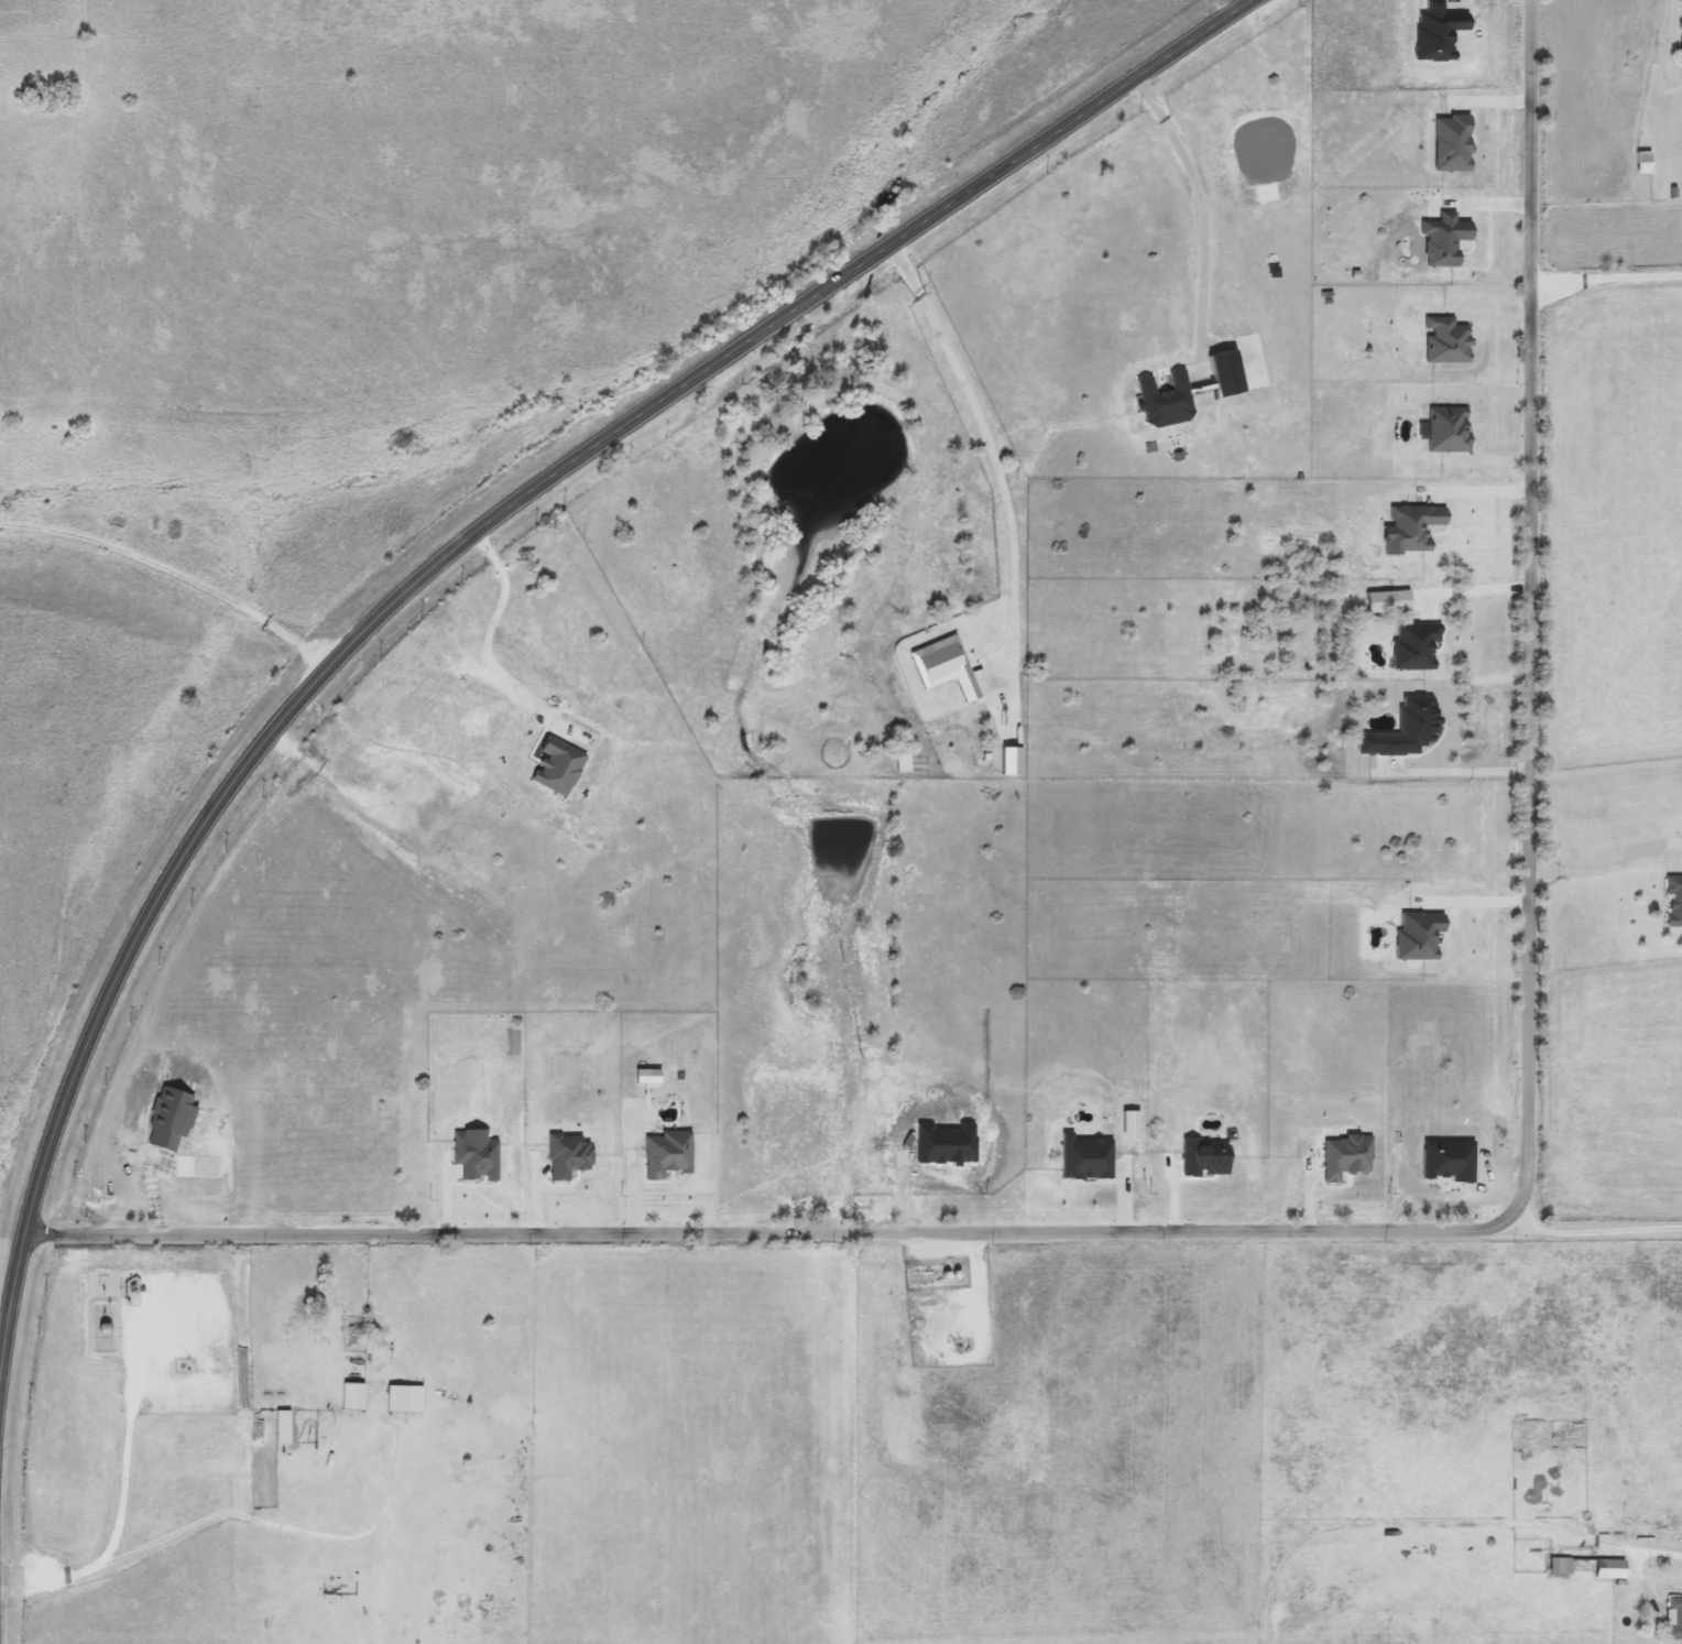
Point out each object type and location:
road: (1668, 9)
building: (1646, 163)
road: (1194, 197)
road: (1608, 263)
road: (996, 459)
road: (1477, 494)
road: (459, 543)
road: (170, 571)
road: (1476, 591)
road: (481, 640)
road: (1468, 773)
road: (1602, 858)
building: (1675, 901)
road: (1477, 902)
road: (1592, 1227)
road: (1381, 1232)
road: (3, 1316)
building: (356, 1396)
building: (407, 1398)
building: (285, 1427)
building: (1538, 1435)
road: (223, 1514)
road: (1561, 1527)
road: (1311, 1534)
building: (1564, 1566)
building: (1615, 1569)
building: (1676, 1618)

